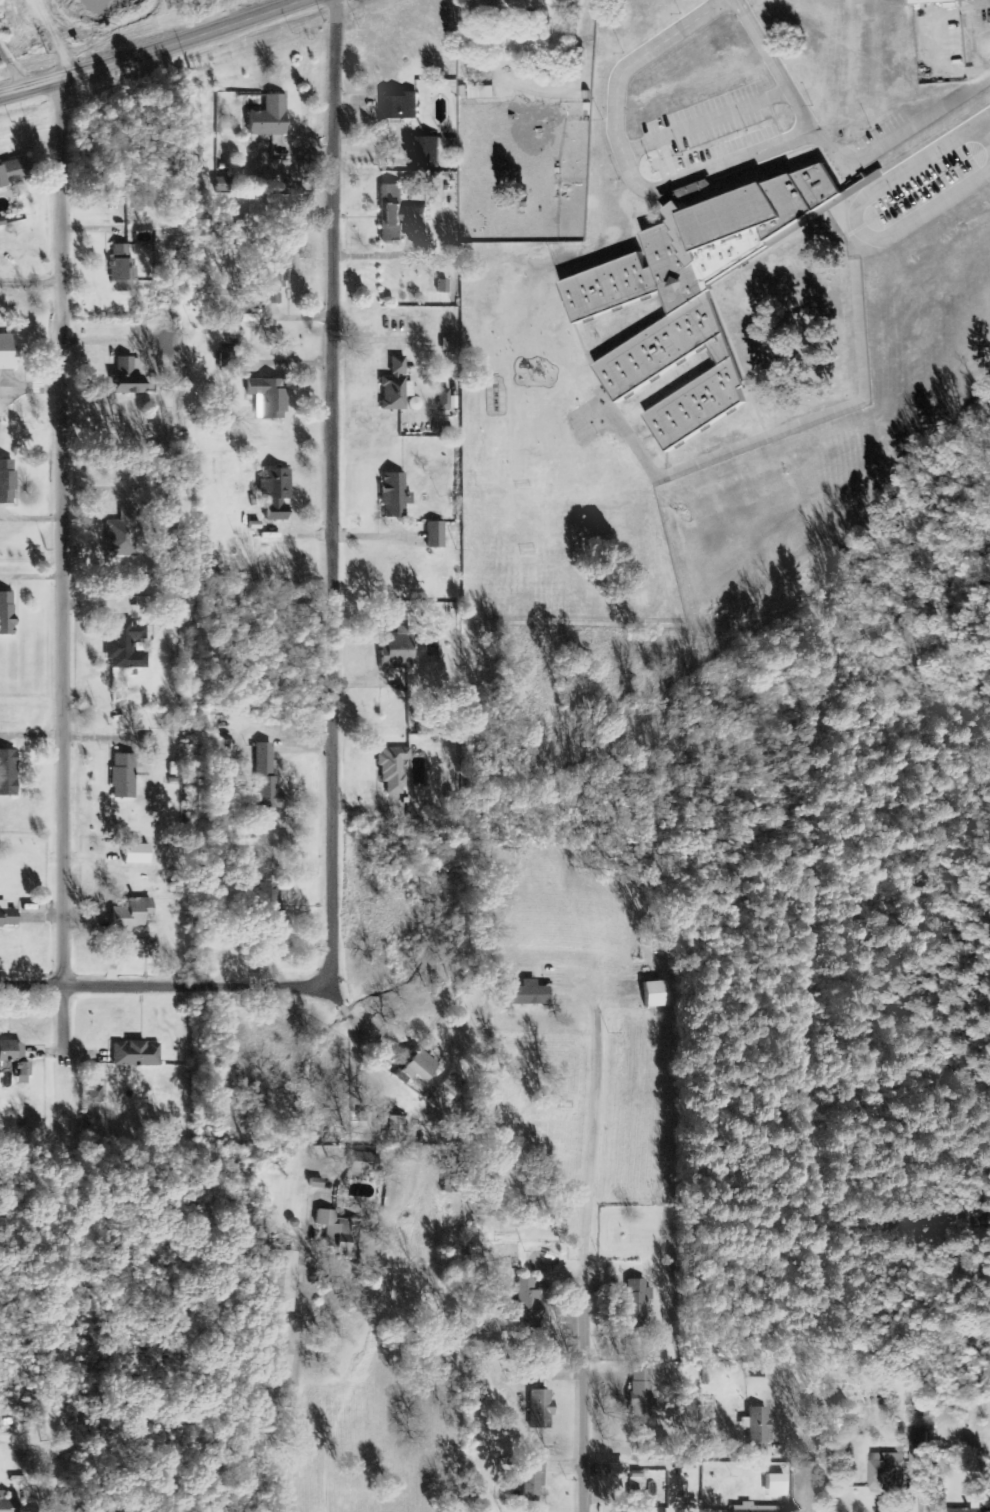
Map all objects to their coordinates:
building: (933, 1)
building: (534, 4)
road: (87, 33)
road: (51, 38)
road: (153, 48)
building: (483, 93)
building: (399, 106)
building: (271, 117)
road: (705, 120)
building: (429, 151)
road: (624, 162)
road: (833, 162)
building: (14, 172)
road: (924, 205)
building: (398, 214)
building: (123, 264)
building: (273, 274)
building: (443, 287)
building: (697, 294)
building: (8, 353)
building: (131, 377)
road: (862, 379)
building: (396, 387)
building: (447, 400)
building: (416, 404)
building: (8, 482)
building: (277, 494)
building: (396, 496)
building: (122, 534)
building: (436, 535)
road: (68, 567)
building: (143, 603)
building: (7, 613)
building: (127, 644)
building: (399, 649)
road: (340, 654)
building: (395, 768)
building: (9, 773)
building: (124, 776)
building: (267, 779)
building: (138, 853)
building: (271, 898)
building: (134, 914)
building: (8, 916)
building: (526, 994)
building: (658, 994)
building: (12, 1050)
building: (137, 1054)
building: (419, 1067)
building: (23, 1073)
building: (96, 1094)
building: (448, 1097)
building: (394, 1123)
building: (360, 1165)
building: (338, 1230)
building: (284, 1281)
building: (638, 1302)
building: (530, 1303)
building: (643, 1391)
road: (590, 1392)
building: (541, 1409)
building: (758, 1429)
building: (919, 1450)
building: (618, 1470)
building: (889, 1473)
road: (826, 1477)
building: (534, 1481)
building: (777, 1485)
building: (8, 1503)
building: (648, 1505)
building: (756, 1508)
building: (974, 1508)

